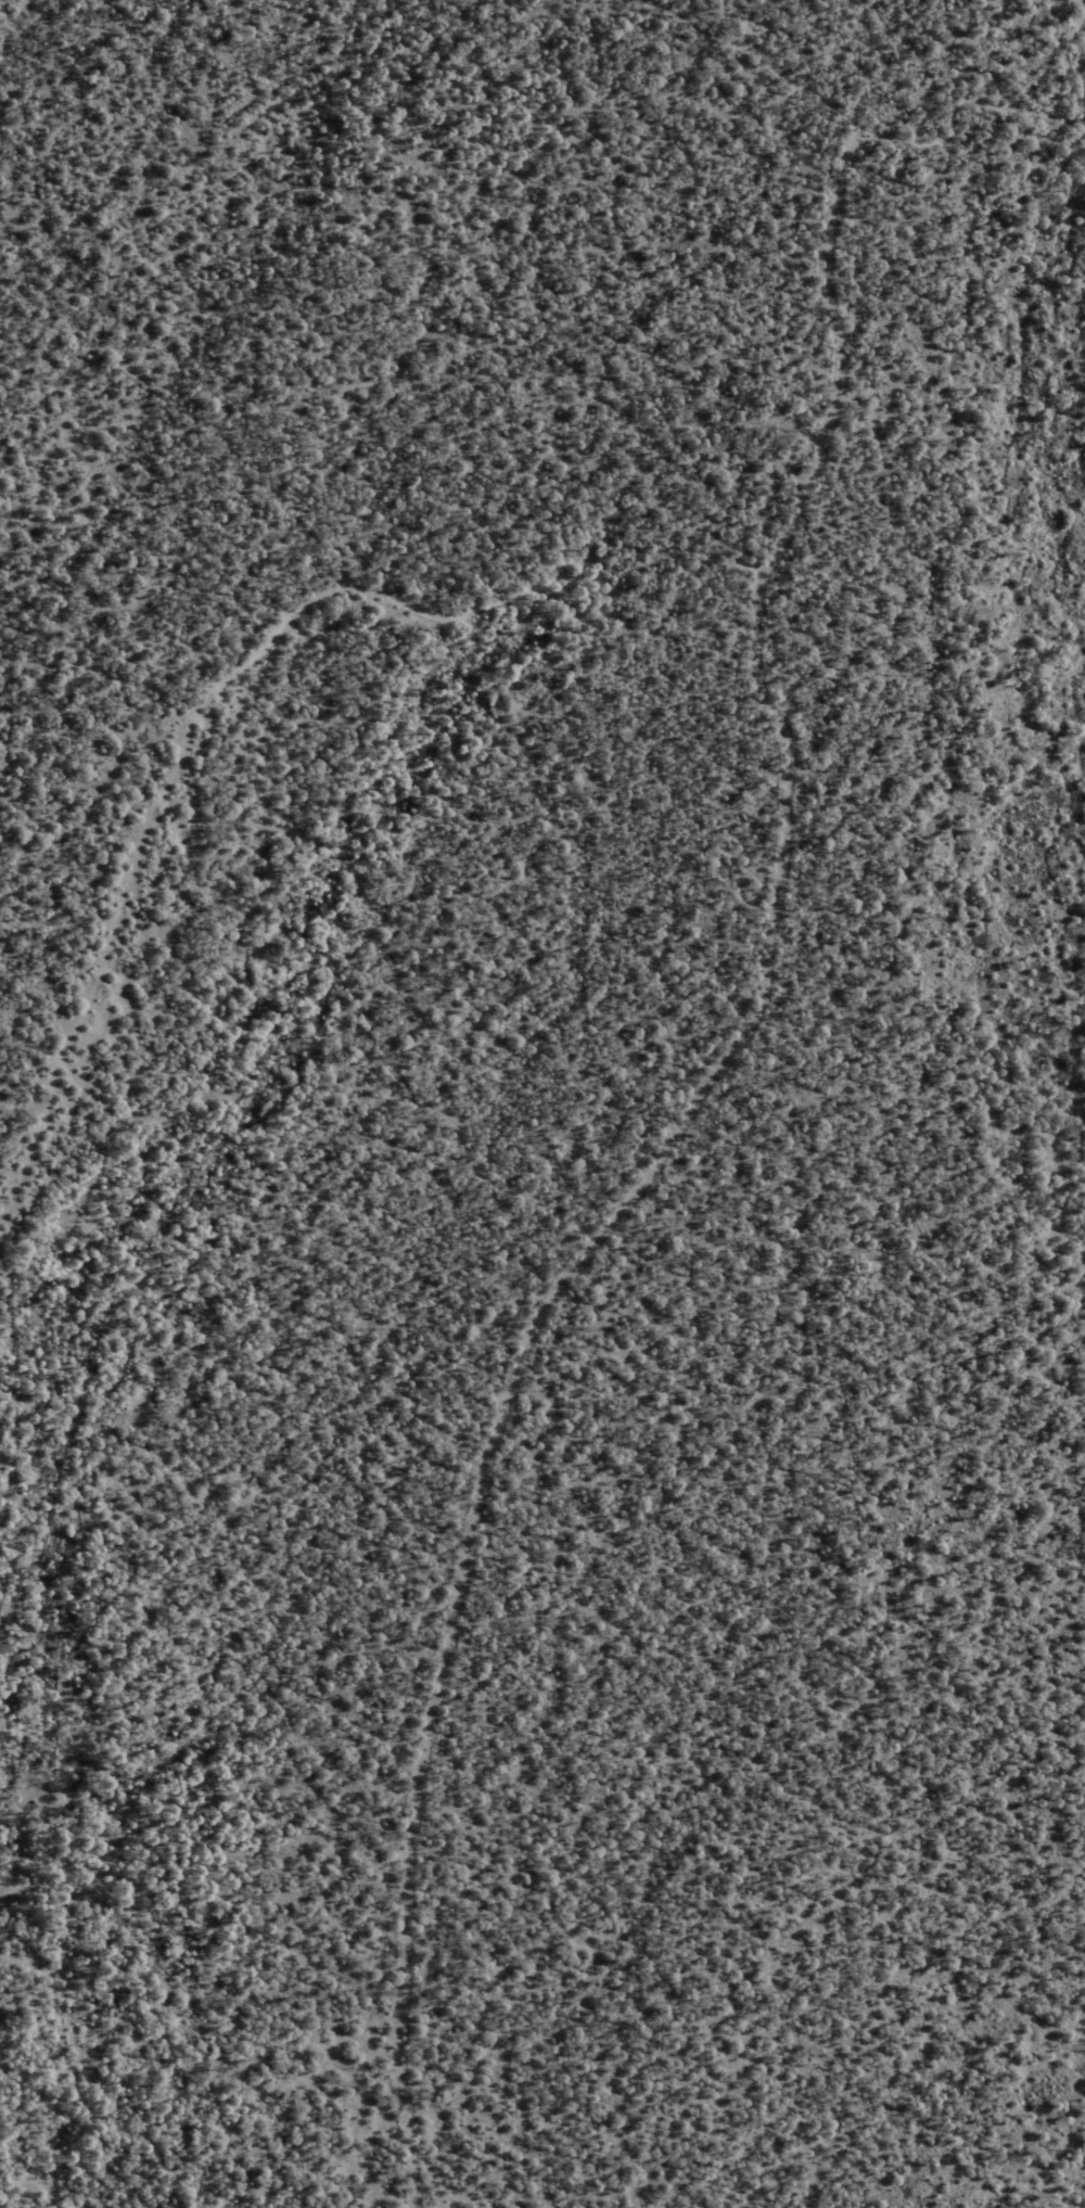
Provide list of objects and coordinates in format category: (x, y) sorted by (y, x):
road: (863, 65)
road: (852, 129)

